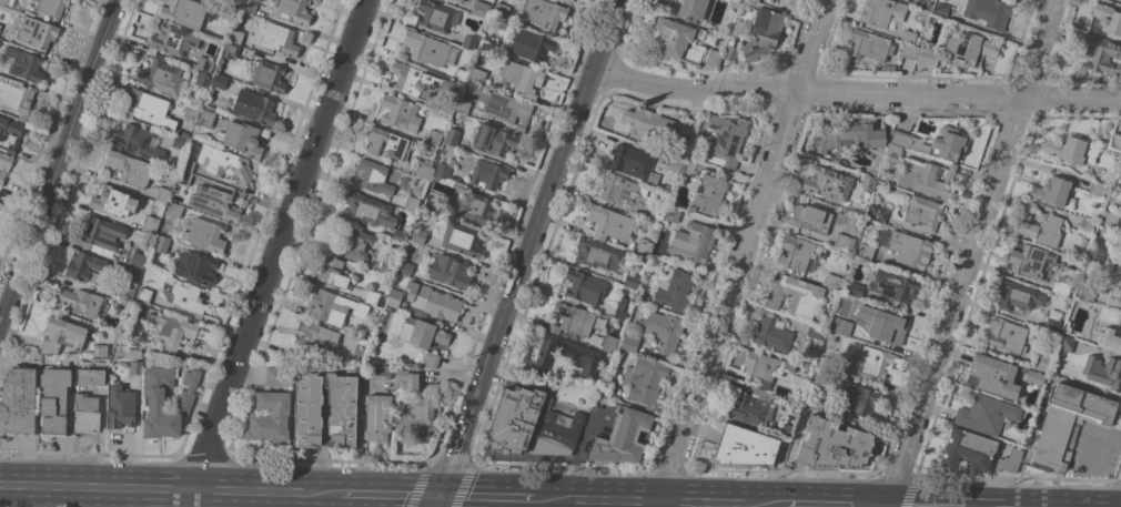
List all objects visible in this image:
building: (459, 0)
building: (755, 0)
building: (565, 1)
building: (7, 2)
building: (922, 3)
building: (734, 4)
building: (249, 6)
building: (51, 7)
building: (479, 9)
building: (501, 10)
building: (693, 10)
building: (226, 11)
building: (291, 11)
building: (940, 11)
building: (183, 12)
building: (881, 12)
building: (988, 12)
building: (543, 13)
building: (436, 16)
building: (1108, 19)
building: (0, 26)
building: (37, 32)
building: (763, 34)
building: (235, 37)
building: (908, 37)
building: (277, 39)
building: (468, 39)
building: (678, 39)
building: (170, 40)
building: (488, 43)
building: (529, 45)
building: (870, 45)
building: (971, 48)
building: (423, 49)
building: (231, 50)
building: (731, 50)
building: (909, 51)
building: (484, 52)
building: (1099, 53)
building: (714, 58)
building: (926, 58)
building: (23, 64)
building: (203, 64)
building: (161, 75)
building: (459, 75)
building: (476, 75)
building: (269, 77)
building: (202, 79)
building: (523, 79)
building: (417, 81)
building: (219, 82)
road: (857, 95)
building: (16, 99)
building: (209, 102)
building: (463, 105)
building: (148, 107)
building: (253, 107)
building: (447, 107)
building: (505, 109)
building: (192, 111)
building: (400, 113)
building: (206, 116)
building: (648, 125)
building: (689, 126)
building: (10, 132)
building: (184, 134)
building: (848, 135)
building: (241, 138)
building: (433, 138)
building: (453, 138)
building: (494, 140)
building: (908, 141)
building: (1114, 141)
building: (137, 142)
building: (179, 142)
building: (727, 142)
building: (949, 143)
building: (387, 144)
building: (430, 148)
building: (893, 151)
building: (1071, 151)
road: (58, 161)
building: (224, 163)
building: (632, 163)
building: (4, 164)
building: (188, 165)
building: (689, 165)
building: (674, 166)
building: (129, 169)
building: (424, 171)
building: (442, 171)
building: (487, 174)
building: (376, 178)
building: (923, 178)
building: (1118, 180)
building: (868, 182)
building: (822, 183)
building: (615, 187)
building: (1097, 189)
building: (1052, 192)
building: (710, 194)
building: (162, 195)
building: (111, 201)
building: (214, 203)
building: (411, 203)
building: (431, 203)
building: (476, 209)
road: (545, 209)
building: (174, 210)
building: (367, 211)
building: (657, 212)
building: (671, 213)
building: (877, 213)
building: (923, 213)
building: (810, 219)
building: (1110, 219)
building: (608, 223)
building: (144, 225)
building: (1040, 226)
building: (1084, 226)
building: (102, 233)
building: (203, 234)
building: (398, 236)
building: (418, 236)
building: (462, 239)
building: (842, 240)
building: (693, 242)
building: (161, 243)
building: (358, 243)
building: (1120, 243)
building: (906, 247)
building: (644, 249)
building: (866, 252)
road: (274, 253)
road: (740, 253)
building: (797, 253)
road: (969, 253)
building: (597, 254)
building: (1097, 255)
building: (138, 258)
building: (655, 261)
building: (1031, 262)
building: (406, 264)
building: (83, 265)
building: (386, 266)
building: (194, 267)
building: (448, 272)
building: (131, 273)
building: (332, 273)
building: (632, 281)
building: (832, 282)
building: (895, 286)
building: (1062, 286)
building: (584, 287)
building: (852, 288)
building: (674, 291)
building: (144, 294)
building: (1087, 294)
building: (184, 295)
building: (795, 296)
building: (1018, 296)
building: (371, 297)
building: (1120, 297)
building: (395, 298)
building: (80, 302)
building: (432, 303)
building: (121, 304)
building: (333, 307)
building: (622, 310)
building: (570, 320)
building: (1051, 322)
building: (883, 326)
building: (841, 327)
building: (172, 329)
building: (662, 331)
building: (595, 332)
building: (814, 332)
building: (422, 333)
building: (62, 334)
building: (771, 334)
building: (364, 335)
building: (1006, 336)
building: (1109, 341)
building: (313, 343)
building: (628, 343)
building: (609, 344)
building: (1066, 344)
building: (102, 351)
building: (128, 352)
building: (580, 355)
building: (1040, 358)
building: (430, 361)
building: (875, 362)
building: (826, 363)
building: (135, 367)
building: (765, 367)
building: (1103, 372)
building: (375, 373)
building: (993, 374)
building: (279, 376)
building: (90, 377)
building: (408, 381)
building: (644, 381)
building: (608, 387)
building: (858, 399)
building: (166, 400)
building: (18, 402)
building: (53, 402)
building: (817, 402)
building: (600, 404)
building: (121, 407)
building: (751, 408)
building: (343, 410)
building: (85, 413)
building: (986, 415)
building: (270, 417)
building: (376, 417)
building: (415, 417)
building: (514, 420)
building: (1068, 425)
building: (786, 430)
building: (557, 434)
building: (622, 438)
road: (1095, 444)
building: (831, 445)
building: (744, 447)
building: (967, 450)
road: (453, 457)
building: (1009, 460)
road: (170, 489)
road: (390, 496)
traffic signals: (438, 497)
road: (485, 498)
road: (436, 501)
road: (709, 503)

